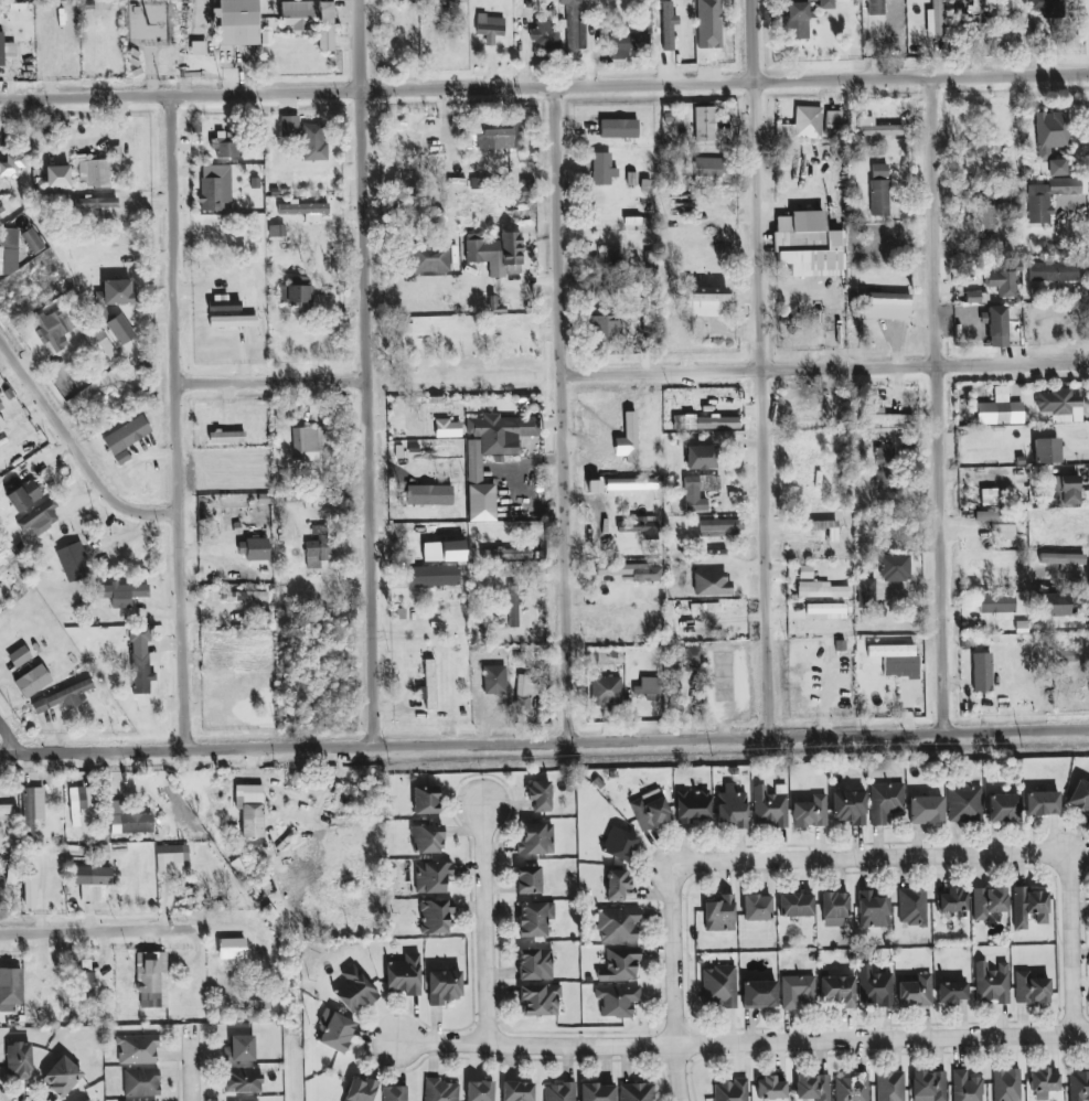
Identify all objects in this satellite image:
building: (573, 0)
building: (826, 4)
building: (875, 7)
building: (1048, 8)
building: (935, 19)
building: (311, 20)
building: (797, 20)
building: (238, 22)
building: (490, 28)
building: (574, 31)
building: (543, 35)
building: (628, 45)
building: (6, 50)
road: (544, 86)
building: (833, 120)
building: (704, 124)
building: (802, 125)
building: (289, 126)
building: (619, 128)
building: (879, 129)
building: (499, 136)
building: (1053, 139)
building: (314, 142)
building: (227, 151)
building: (12, 167)
building: (601, 169)
building: (708, 170)
building: (57, 177)
building: (478, 184)
building: (215, 189)
building: (879, 190)
building: (1048, 197)
building: (96, 203)
building: (1, 209)
building: (302, 209)
building: (984, 217)
building: (33, 240)
building: (808, 245)
building: (9, 252)
building: (495, 253)
building: (429, 257)
building: (609, 258)
building: (1053, 271)
building: (1002, 282)
building: (115, 293)
building: (302, 297)
building: (704, 300)
building: (885, 300)
building: (224, 306)
building: (233, 321)
building: (997, 321)
building: (56, 327)
building: (605, 327)
building: (120, 329)
building: (99, 340)
road: (764, 366)
road: (826, 366)
road: (372, 372)
road: (277, 378)
road: (942, 402)
building: (1059, 406)
building: (1, 407)
building: (1000, 409)
road: (566, 411)
road: (180, 419)
building: (716, 423)
building: (448, 428)
building: (2, 429)
building: (630, 429)
building: (226, 437)
building: (126, 438)
building: (308, 442)
road: (75, 450)
building: (1046, 450)
building: (700, 458)
building: (474, 469)
building: (885, 470)
building: (700, 483)
building: (632, 484)
building: (1065, 490)
building: (23, 495)
building: (989, 496)
building: (692, 502)
building: (39, 517)
building: (1000, 523)
building: (636, 525)
building: (720, 525)
building: (316, 548)
building: (254, 549)
building: (452, 550)
building: (505, 554)
building: (1061, 559)
building: (73, 562)
building: (7, 563)
building: (895, 567)
building: (632, 571)
building: (502, 573)
building: (433, 576)
building: (712, 584)
building: (821, 590)
building: (122, 594)
building: (866, 594)
building: (244, 596)
building: (996, 603)
building: (512, 605)
building: (1054, 605)
building: (825, 608)
building: (691, 654)
building: (19, 656)
building: (140, 661)
building: (897, 661)
building: (982, 672)
building: (494, 680)
building: (32, 682)
building: (428, 685)
building: (648, 688)
building: (606, 692)
building: (525, 693)
building: (63, 697)
road: (12, 731)
road: (544, 740)
building: (540, 795)
building: (1080, 795)
building: (425, 800)
building: (885, 802)
building: (77, 803)
building: (1042, 803)
building: (964, 804)
building: (692, 805)
building: (733, 806)
building: (769, 808)
building: (848, 808)
building: (1003, 808)
building: (32, 809)
building: (8, 810)
building: (250, 810)
building: (926, 810)
building: (650, 811)
building: (811, 812)
building: (129, 820)
building: (427, 838)
building: (535, 840)
building: (619, 844)
building: (171, 858)
road: (857, 858)
building: (3, 869)
building: (433, 877)
building: (529, 880)
building: (92, 881)
building: (619, 885)
building: (952, 901)
building: (987, 902)
building: (796, 905)
building: (912, 907)
building: (1028, 907)
building: (757, 908)
building: (834, 909)
building: (873, 910)
building: (719, 915)
building: (435, 916)
building: (534, 919)
road: (485, 920)
building: (618, 924)
road: (127, 930)
road: (1071, 938)
building: (231, 949)
building: (535, 964)
building: (620, 965)
building: (404, 975)
building: (86, 979)
building: (152, 980)
building: (991, 983)
building: (444, 986)
building: (719, 986)
building: (874, 987)
road: (675, 988)
building: (1031, 988)
building: (10, 990)
building: (354, 991)
building: (797, 991)
building: (837, 991)
building: (916, 992)
building: (951, 993)
building: (759, 994)
building: (540, 1000)
building: (250, 1001)
building: (617, 1001)
building: (334, 1030)
road: (744, 1044)
building: (137, 1049)
building: (239, 1049)
building: (19, 1060)
road: (190, 1070)
building: (62, 1077)
building: (243, 1079)
building: (0, 1080)
building: (1044, 1081)
building: (141, 1082)
building: (1006, 1084)
building: (889, 1086)
building: (929, 1086)
building: (1079, 1086)
building: (812, 1087)
building: (965, 1087)
building: (852, 1088)
building: (770, 1089)
building: (361, 1090)
building: (439, 1090)
building: (732, 1090)
building: (479, 1091)
building: (517, 1091)
building: (559, 1092)
building: (597, 1092)
building: (636, 1092)
building: (395, 1093)
building: (247, 1099)
building: (87, 1100)

